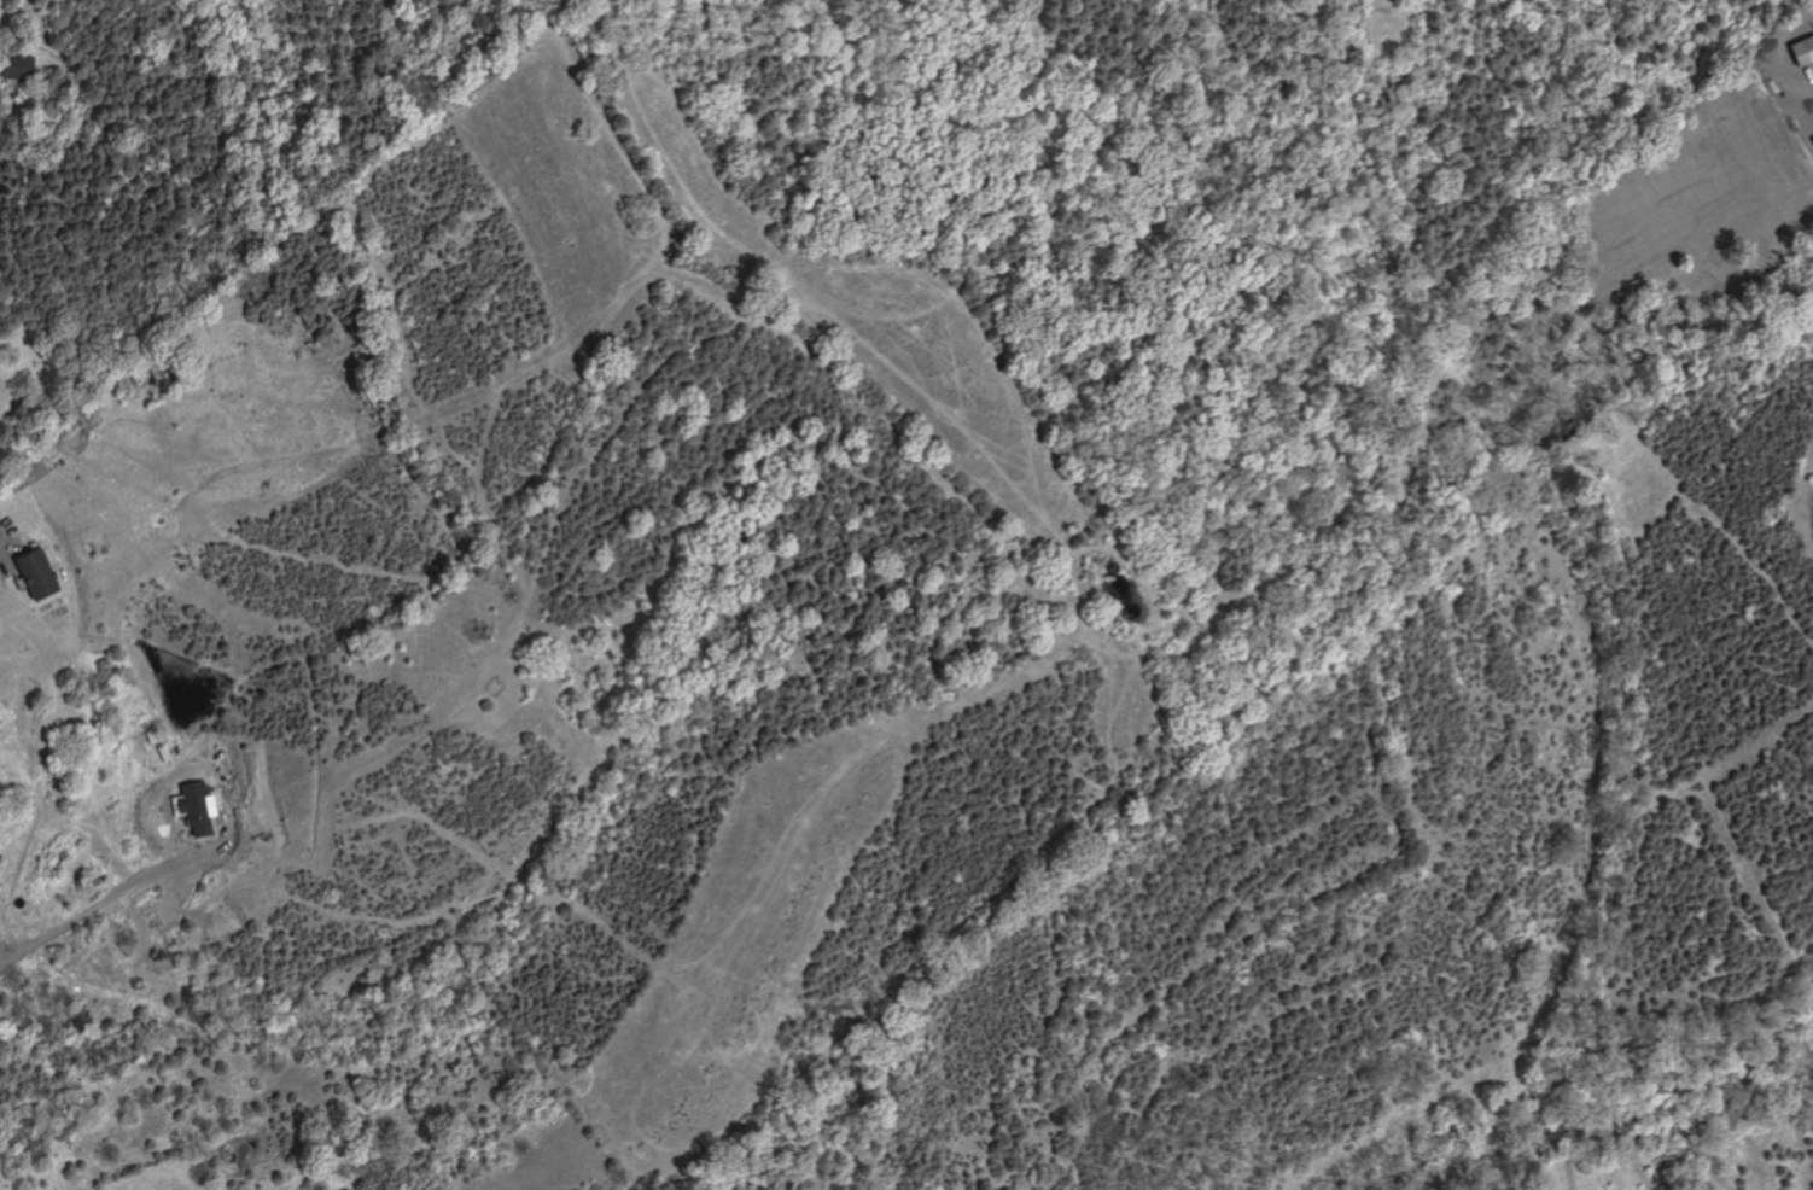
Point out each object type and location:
building: (1805, 49)
road: (1773, 56)
building: (19, 65)
building: (1811, 141)
building: (1301, 191)
road: (6, 559)
building: (39, 573)
building: (153, 736)
building: (197, 807)
road: (141, 880)

